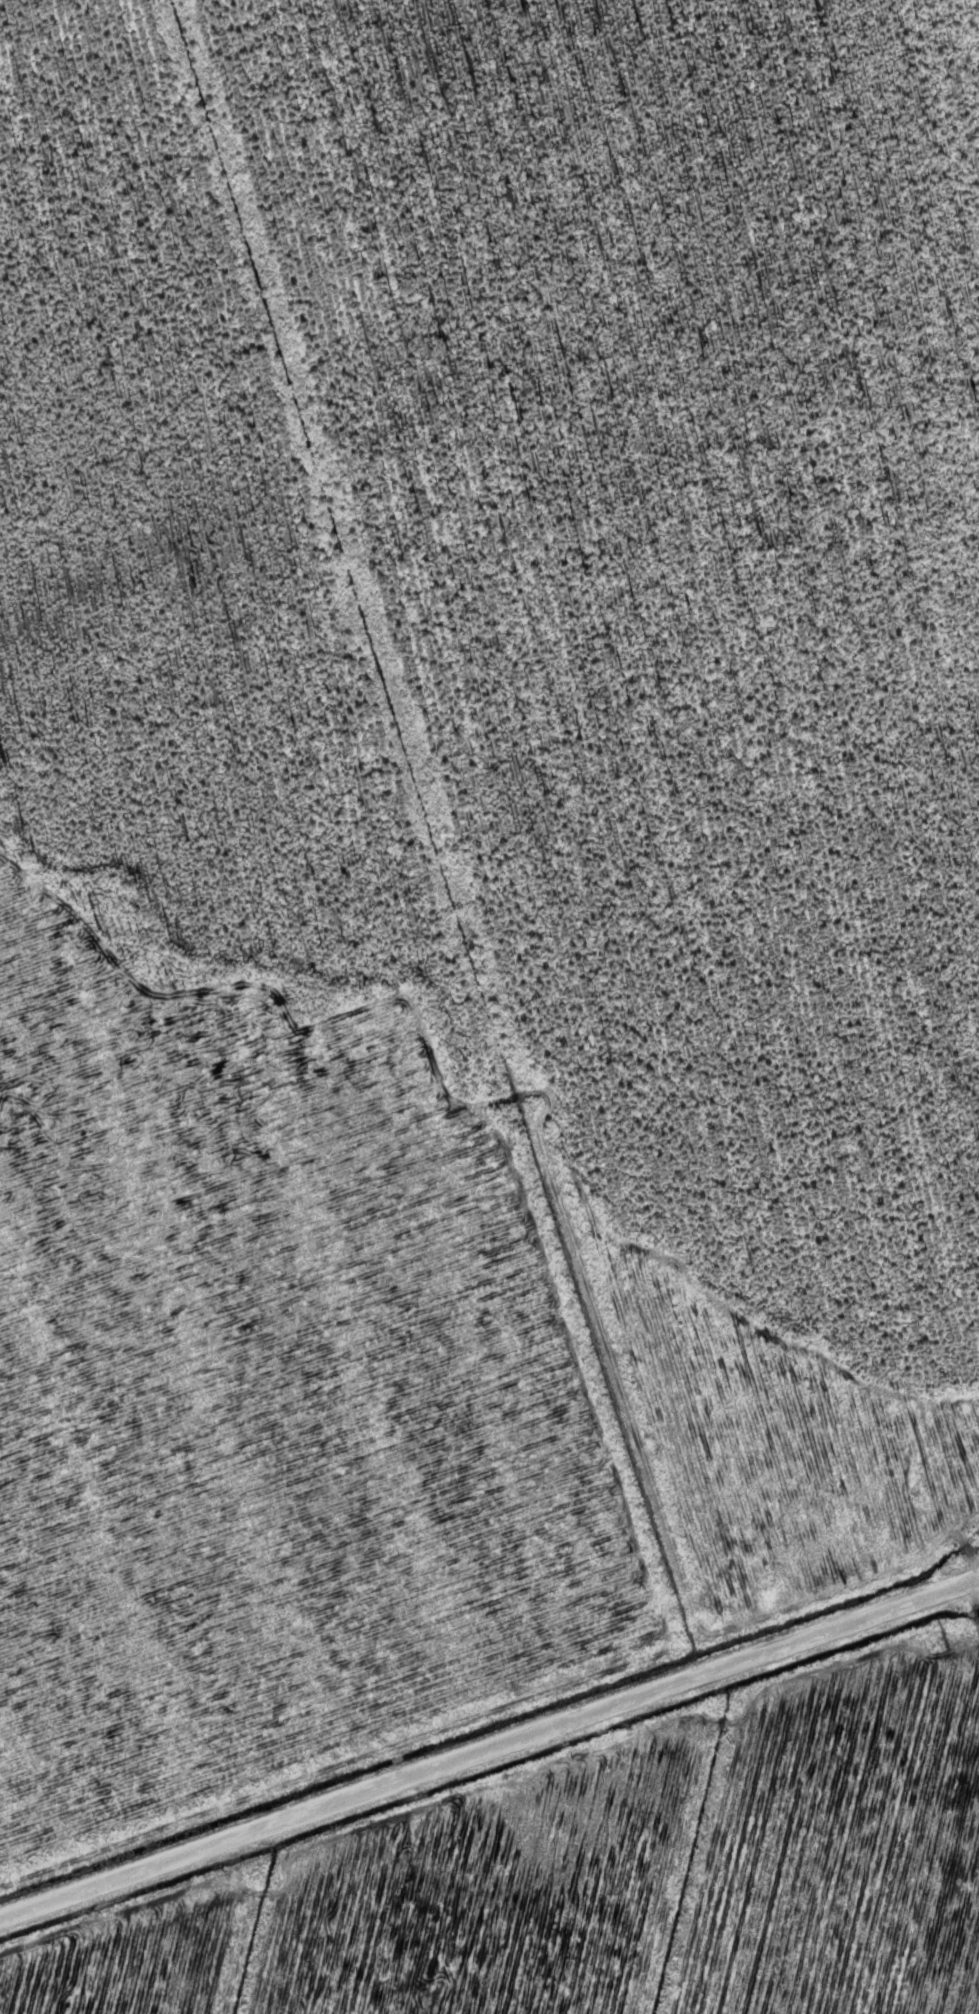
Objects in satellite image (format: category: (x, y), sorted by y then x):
road: (489, 1751)

